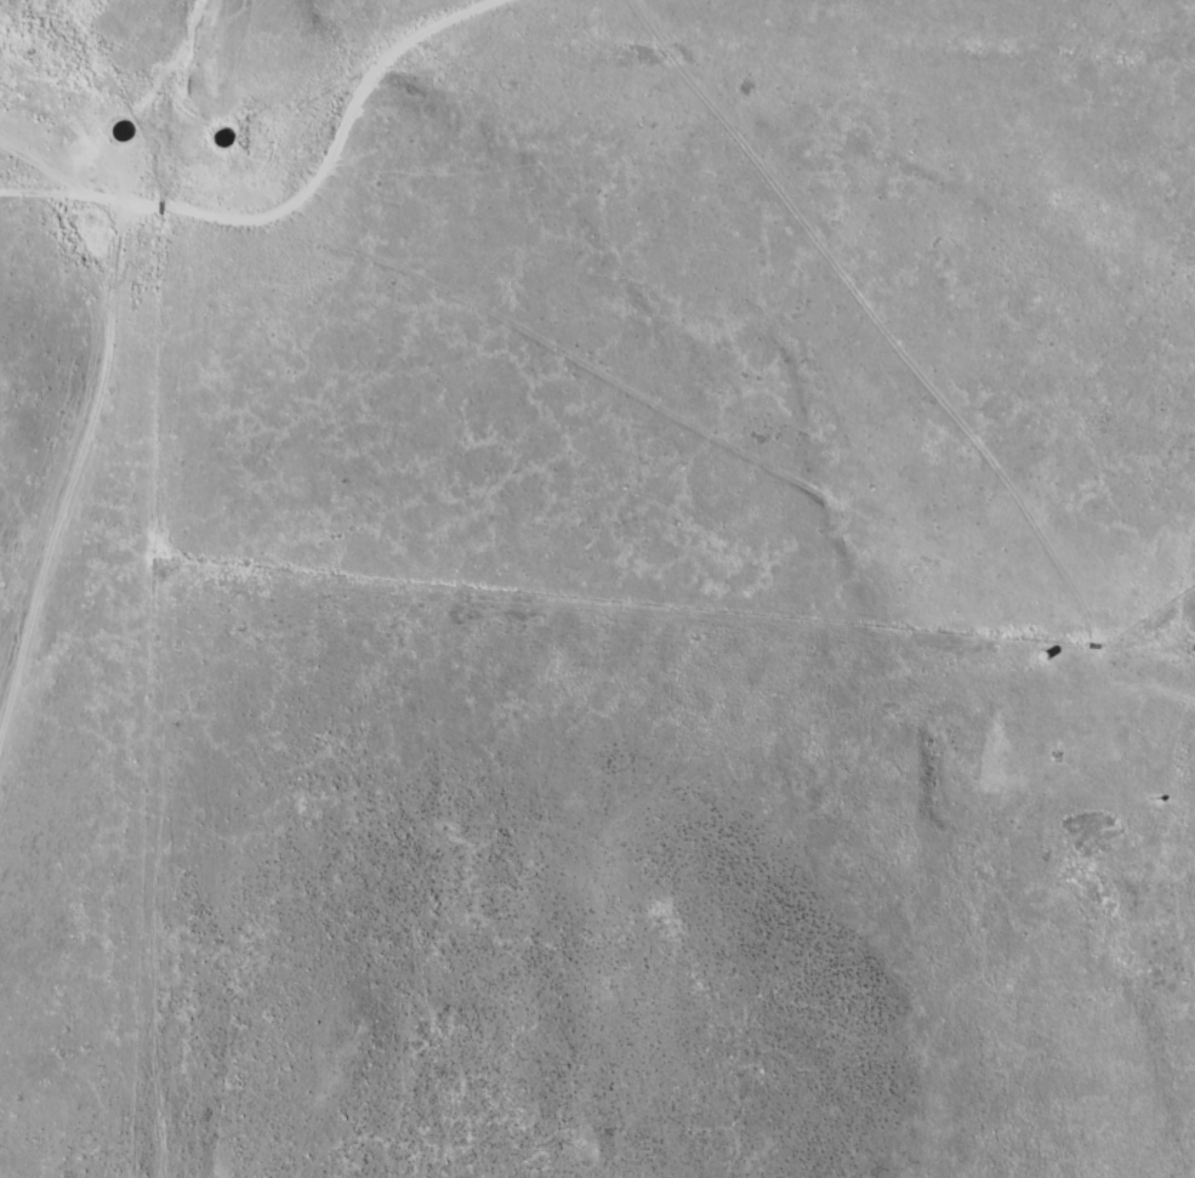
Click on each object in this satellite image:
road: (907, 358)

